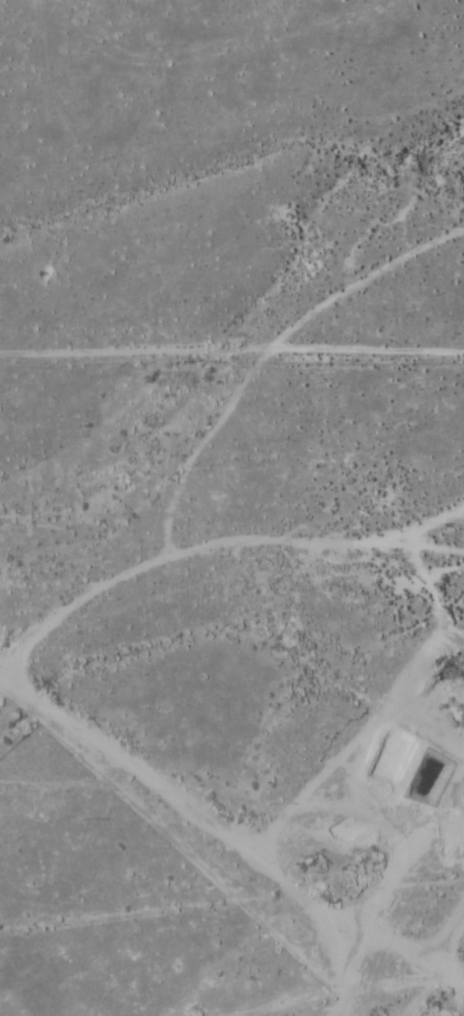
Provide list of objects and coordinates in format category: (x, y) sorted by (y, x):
road: (276, 417)

